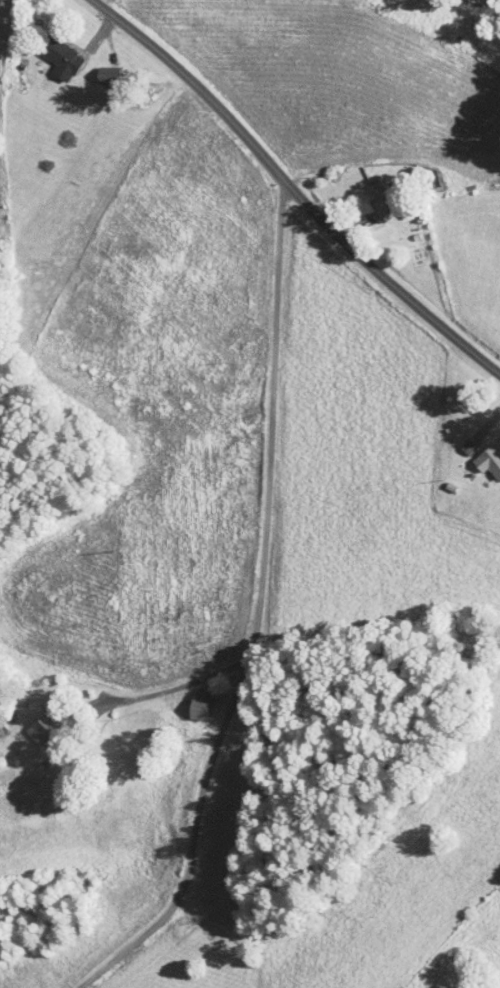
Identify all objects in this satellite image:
building: (47, 49)
building: (368, 189)
road: (295, 191)
building: (479, 454)
road: (258, 613)
road: (174, 686)
building: (184, 701)

